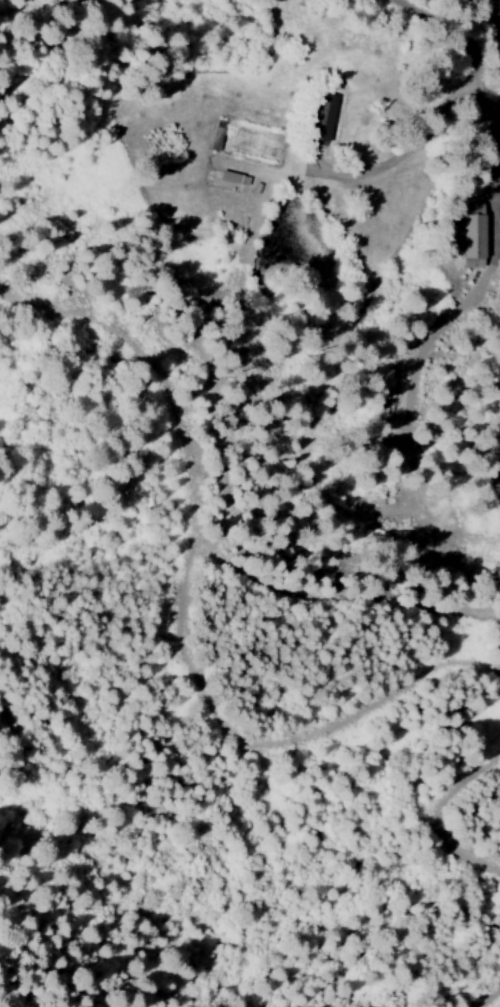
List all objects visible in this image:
road: (415, 31)
building: (323, 116)
building: (234, 177)
building: (230, 186)
building: (473, 235)

